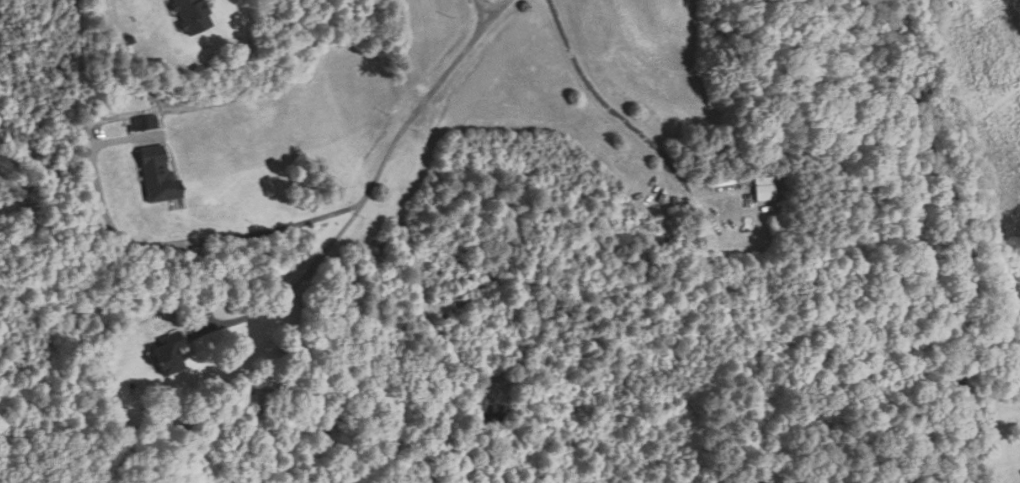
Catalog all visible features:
road: (484, 11)
building: (196, 16)
road: (481, 32)
road: (608, 104)
road: (381, 166)
building: (162, 175)
building: (762, 188)
road: (163, 242)
road: (254, 311)
building: (165, 354)

